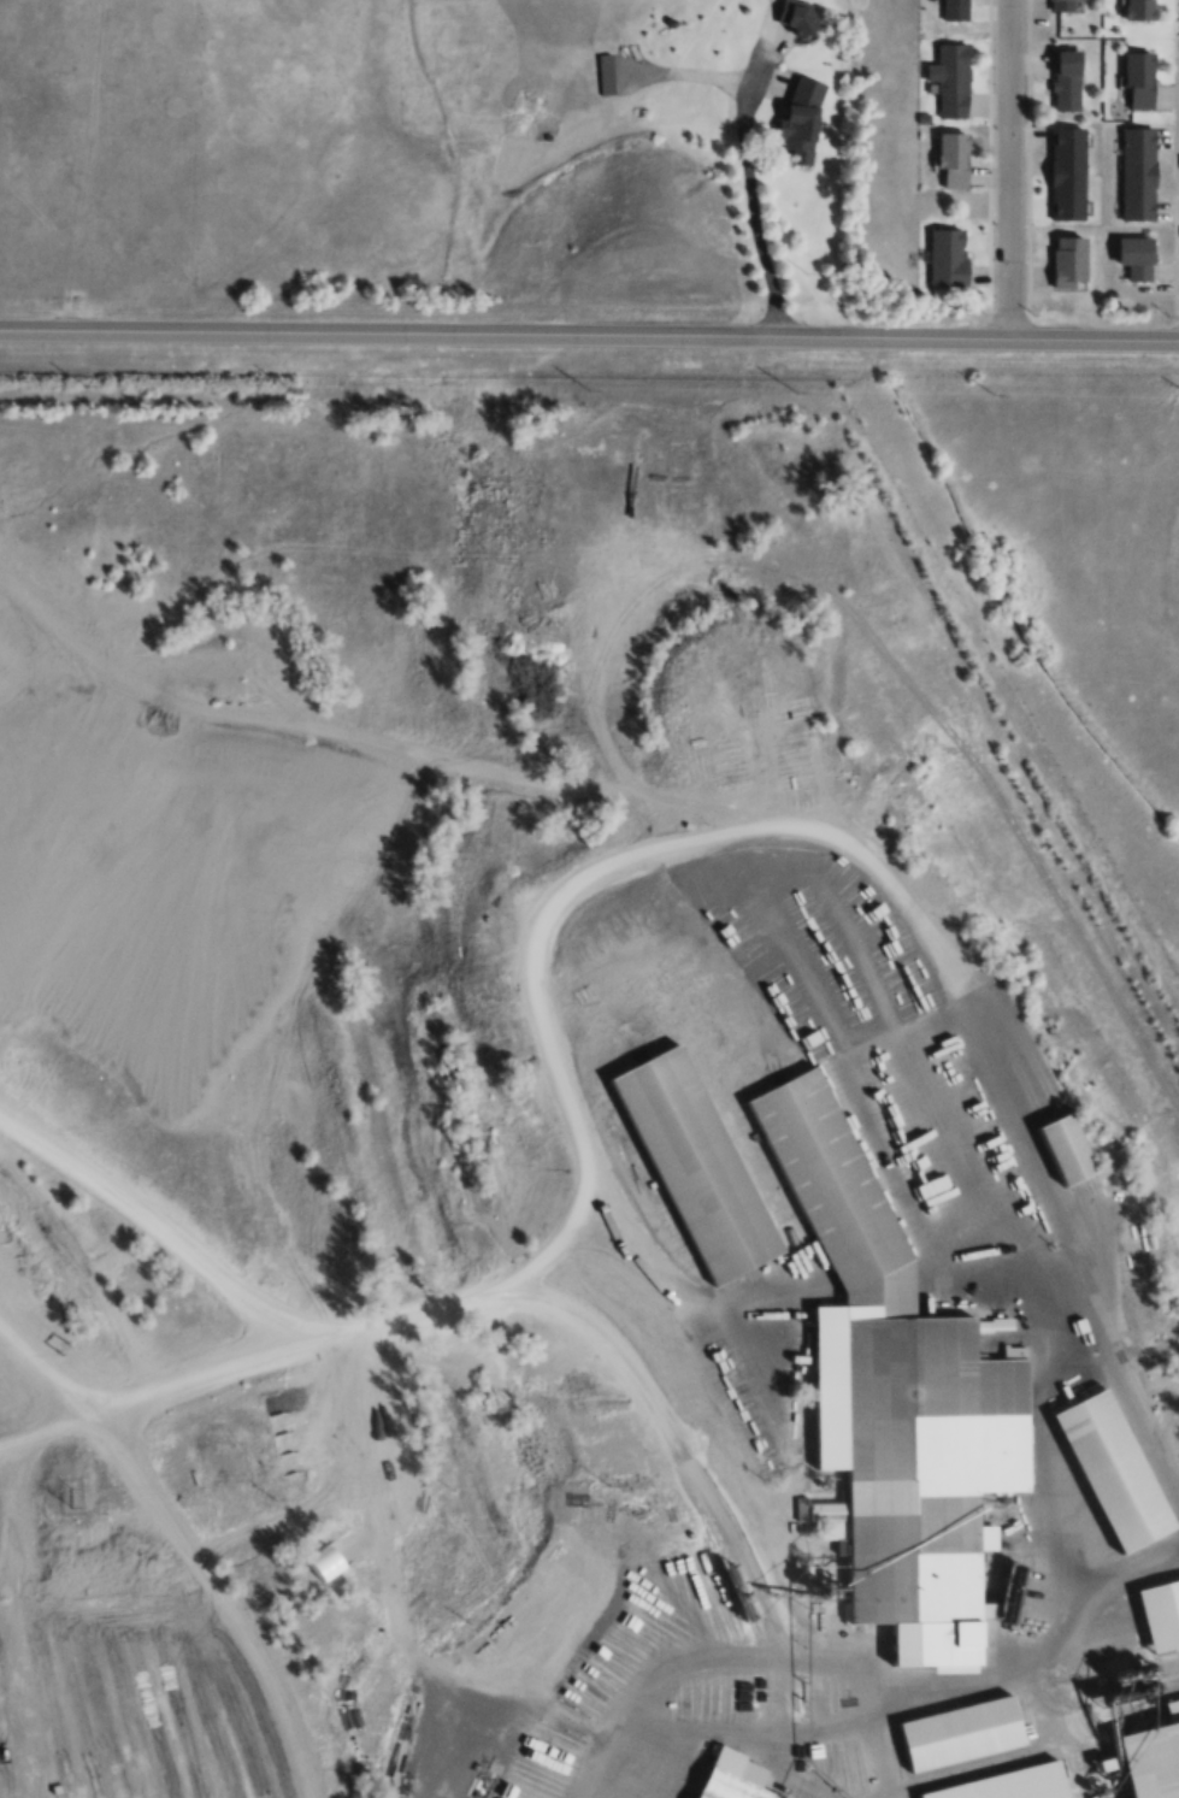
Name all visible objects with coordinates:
building: (1063, 5)
building: (955, 10)
building: (1139, 10)
building: (798, 17)
building: (605, 75)
building: (951, 79)
building: (1068, 79)
building: (1140, 81)
building: (802, 119)
building: (954, 160)
road: (1006, 166)
building: (1137, 172)
building: (1068, 173)
road: (749, 182)
building: (948, 257)
building: (1137, 257)
building: (1071, 263)
road: (411, 329)
road: (872, 331)
road: (1050, 332)
building: (636, 454)
road: (388, 744)
road: (583, 872)
building: (1060, 1136)
building: (691, 1148)
road: (158, 1222)
building: (733, 1374)
building: (890, 1385)
building: (1107, 1470)
building: (984, 1539)
road: (183, 1540)
road: (1071, 1610)
building: (1160, 1615)
building: (960, 1719)
building: (1153, 1757)
building: (1007, 1785)
building: (721, 1787)

